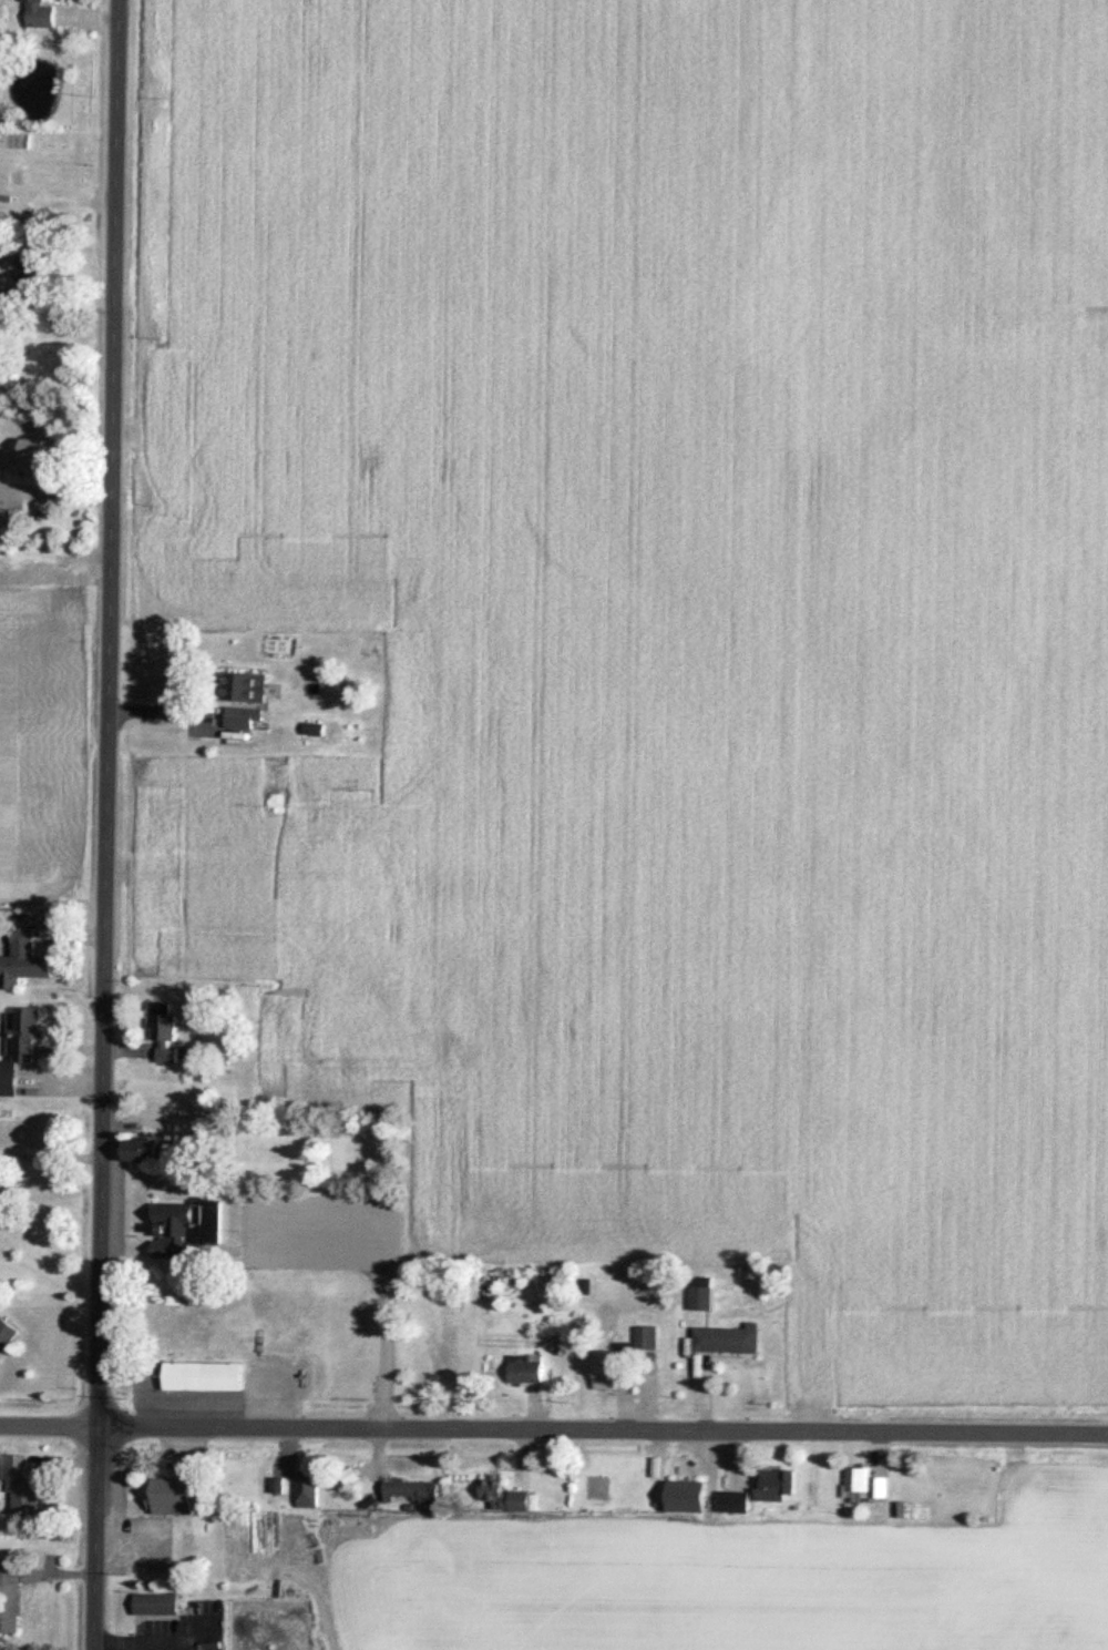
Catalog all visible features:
building: (40, 16)
building: (31, 271)
building: (30, 457)
building: (10, 521)
building: (247, 689)
building: (246, 719)
road: (112, 825)
building: (25, 962)
building: (165, 1032)
building: (19, 1048)
building: (145, 1152)
road: (52, 1158)
building: (191, 1231)
building: (7, 1337)
building: (649, 1341)
building: (729, 1342)
building: (615, 1369)
building: (529, 1372)
building: (205, 1378)
road: (50, 1426)
road: (604, 1430)
building: (860, 1485)
building: (23, 1487)
building: (778, 1487)
building: (310, 1491)
building: (416, 1493)
building: (178, 1495)
building: (506, 1498)
building: (689, 1498)
building: (736, 1504)
building: (11, 1601)
building: (158, 1607)

